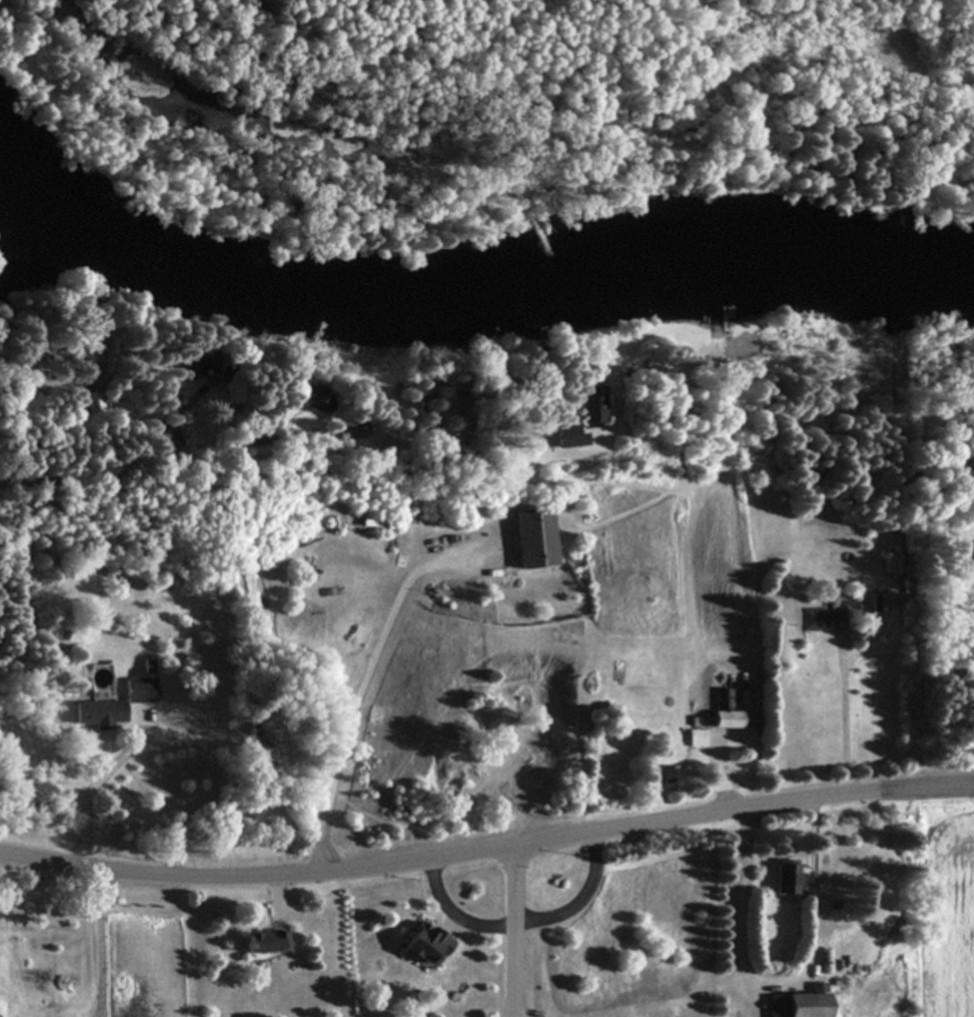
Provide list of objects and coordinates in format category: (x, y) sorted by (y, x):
river: (467, 298)
building: (91, 401)
building: (315, 401)
building: (592, 404)
building: (569, 438)
building: (534, 538)
building: (893, 563)
building: (973, 575)
building: (880, 603)
building: (821, 617)
building: (139, 691)
building: (724, 711)
building: (98, 714)
road: (845, 722)
road: (287, 736)
building: (695, 739)
building: (658, 774)
road: (724, 777)
road: (93, 791)
road: (487, 849)
building: (785, 879)
road: (278, 893)
road: (526, 921)
road: (517, 931)
road: (101, 942)
building: (265, 943)
building: (426, 944)
road: (778, 981)
building: (799, 1004)

